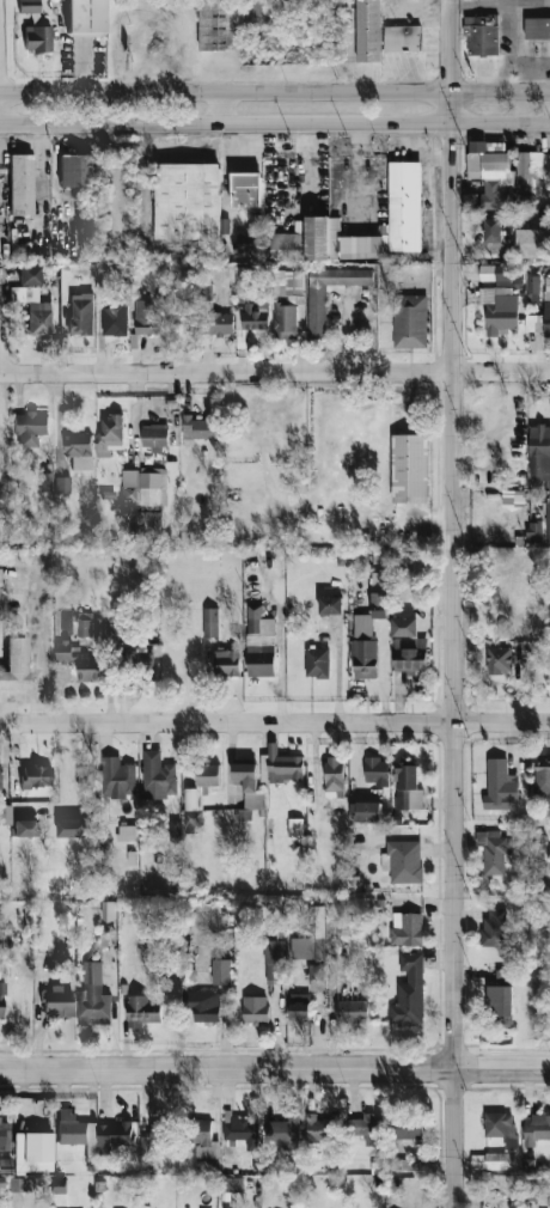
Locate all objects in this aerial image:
building: (27, 6)
building: (85, 17)
building: (233, 20)
building: (537, 28)
building: (368, 30)
building: (482, 35)
building: (37, 37)
building: (403, 37)
road: (275, 92)
road: (224, 108)
road: (275, 123)
building: (533, 161)
building: (75, 169)
building: (490, 169)
building: (20, 183)
building: (245, 189)
building: (187, 201)
building: (405, 206)
building: (493, 230)
building: (335, 239)
building: (245, 242)
building: (533, 243)
building: (285, 245)
building: (508, 274)
building: (29, 275)
building: (532, 288)
building: (546, 306)
building: (33, 309)
building: (501, 309)
building: (317, 311)
building: (81, 313)
building: (148, 317)
building: (115, 318)
building: (285, 321)
building: (410, 321)
building: (220, 323)
building: (251, 325)
road: (275, 372)
building: (29, 427)
building: (201, 427)
building: (111, 431)
building: (154, 437)
building: (79, 450)
building: (540, 460)
building: (410, 468)
building: (45, 481)
building: (62, 484)
building: (146, 496)
building: (513, 496)
building: (534, 531)
building: (403, 561)
road: (458, 603)
building: (330, 604)
building: (373, 604)
building: (209, 621)
building: (84, 623)
building: (404, 626)
building: (261, 642)
road: (35, 649)
building: (409, 654)
building: (141, 657)
building: (365, 658)
building: (500, 659)
building: (80, 660)
building: (317, 661)
building: (227, 663)
building: (14, 664)
road: (8, 697)
road: (274, 721)
building: (285, 765)
building: (377, 770)
building: (0, 774)
building: (36, 775)
building: (158, 775)
building: (334, 776)
building: (117, 777)
building: (542, 780)
building: (249, 783)
building: (501, 785)
building: (408, 786)
building: (198, 793)
building: (367, 811)
building: (5, 813)
building: (24, 826)
building: (73, 826)
building: (295, 826)
building: (175, 830)
building: (126, 832)
building: (494, 850)
building: (403, 860)
building: (537, 862)
building: (494, 927)
building: (407, 928)
building: (312, 942)
building: (274, 959)
building: (221, 971)
building: (503, 976)
building: (97, 978)
building: (409, 990)
building: (1, 999)
building: (57, 1001)
building: (203, 1003)
building: (500, 1003)
building: (299, 1006)
building: (255, 1008)
building: (142, 1011)
building: (352, 1011)
road: (274, 1069)
building: (408, 1125)
building: (501, 1127)
building: (322, 1128)
building: (366, 1128)
building: (536, 1128)
building: (242, 1129)
building: (77, 1131)
building: (282, 1131)
building: (4, 1134)
building: (114, 1135)
building: (153, 1135)
building: (206, 1146)
building: (32, 1149)
building: (493, 1160)
building: (1, 1180)
building: (19, 1183)
building: (232, 1183)

